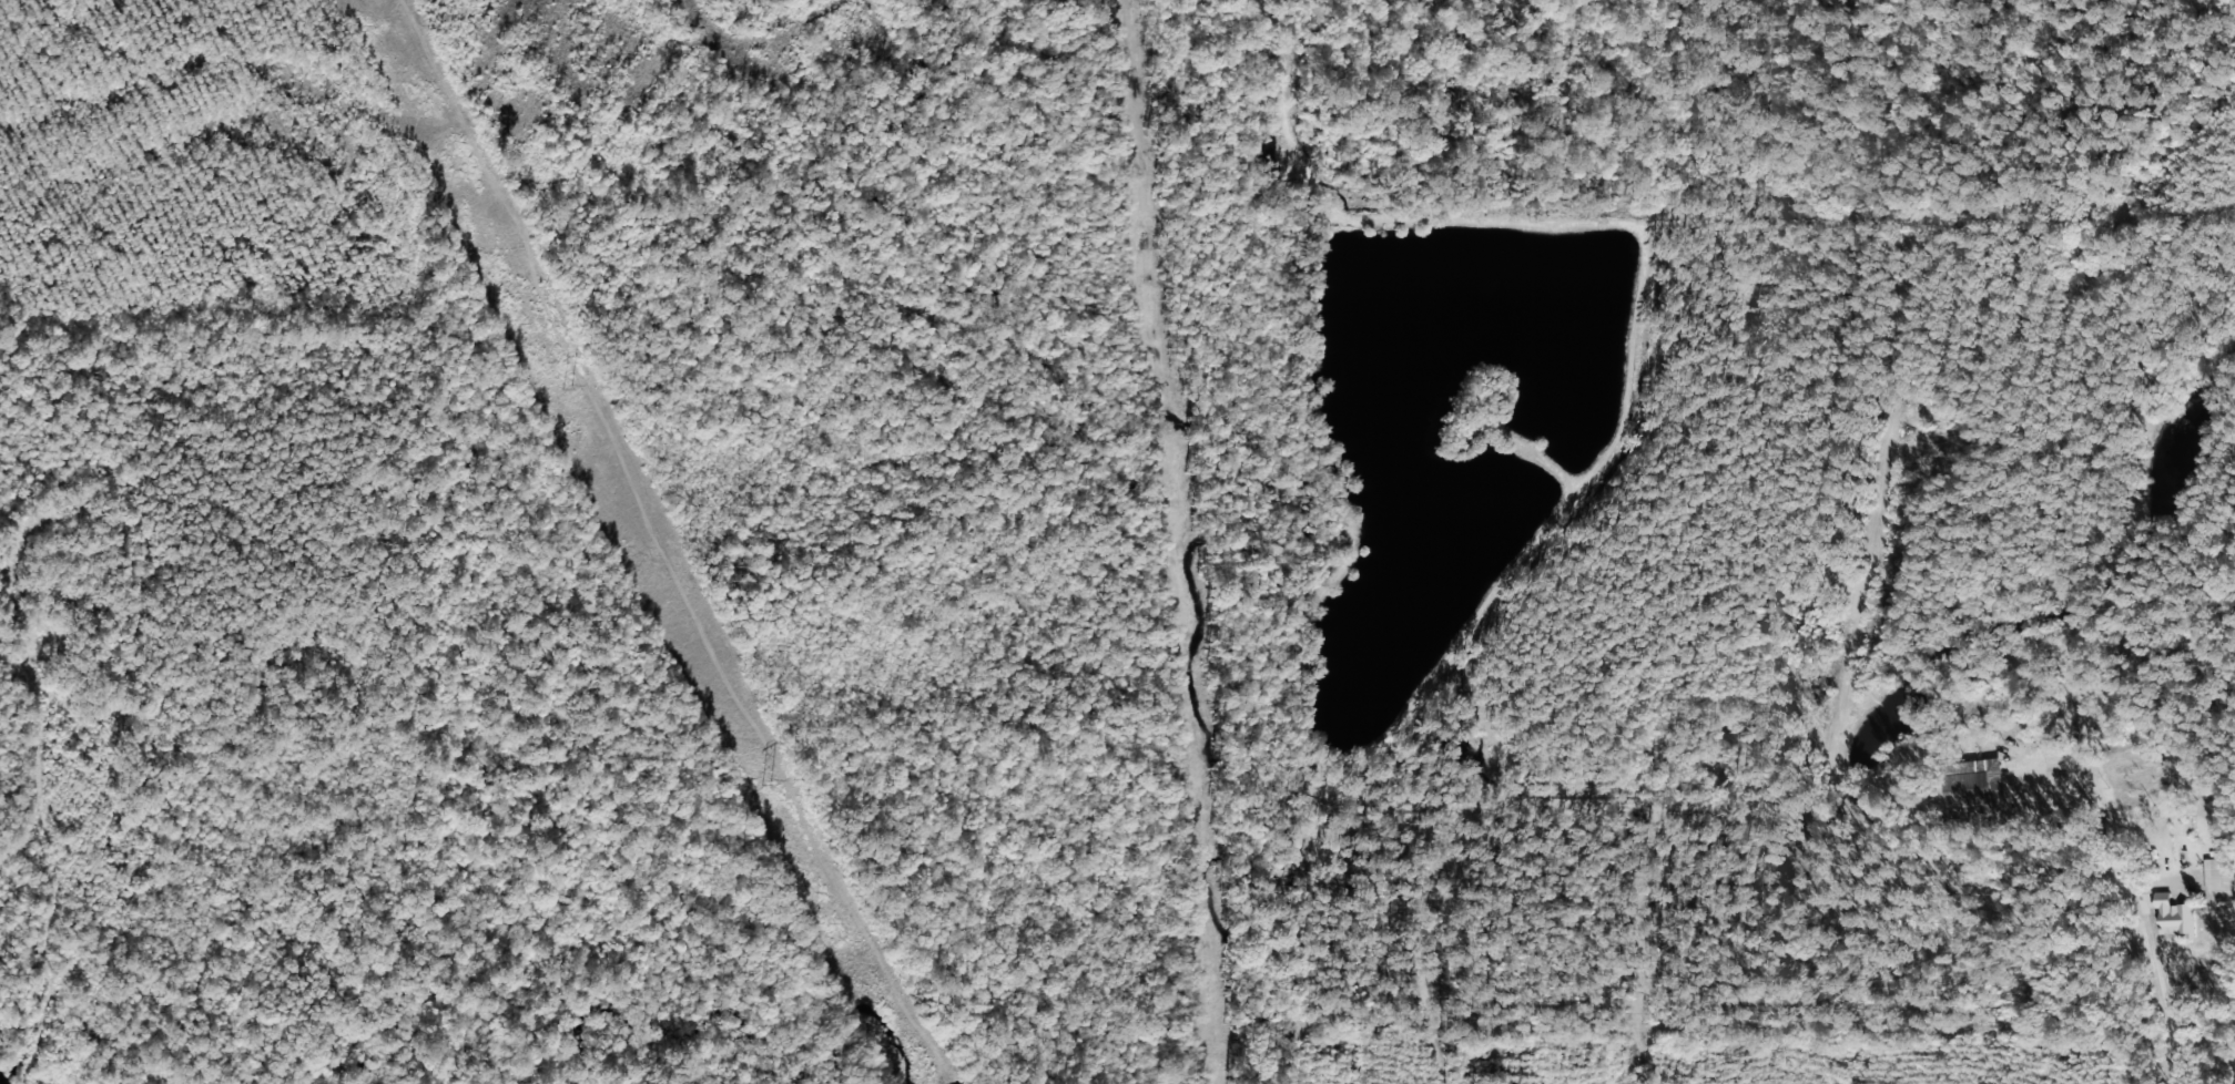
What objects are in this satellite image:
power tower: (579, 386)
power tower: (783, 785)
building: (2217, 877)
building: (2176, 921)

